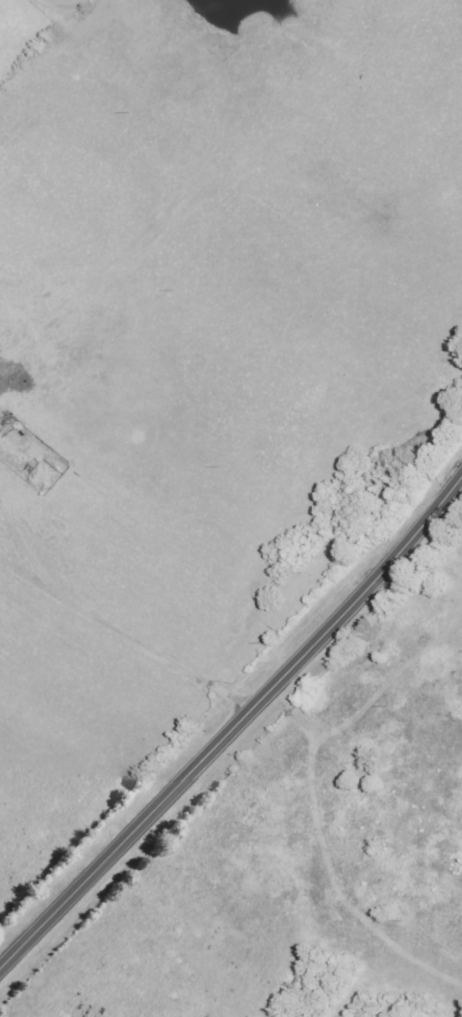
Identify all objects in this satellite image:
road: (67, 1)
road: (128, 633)
road: (233, 729)

